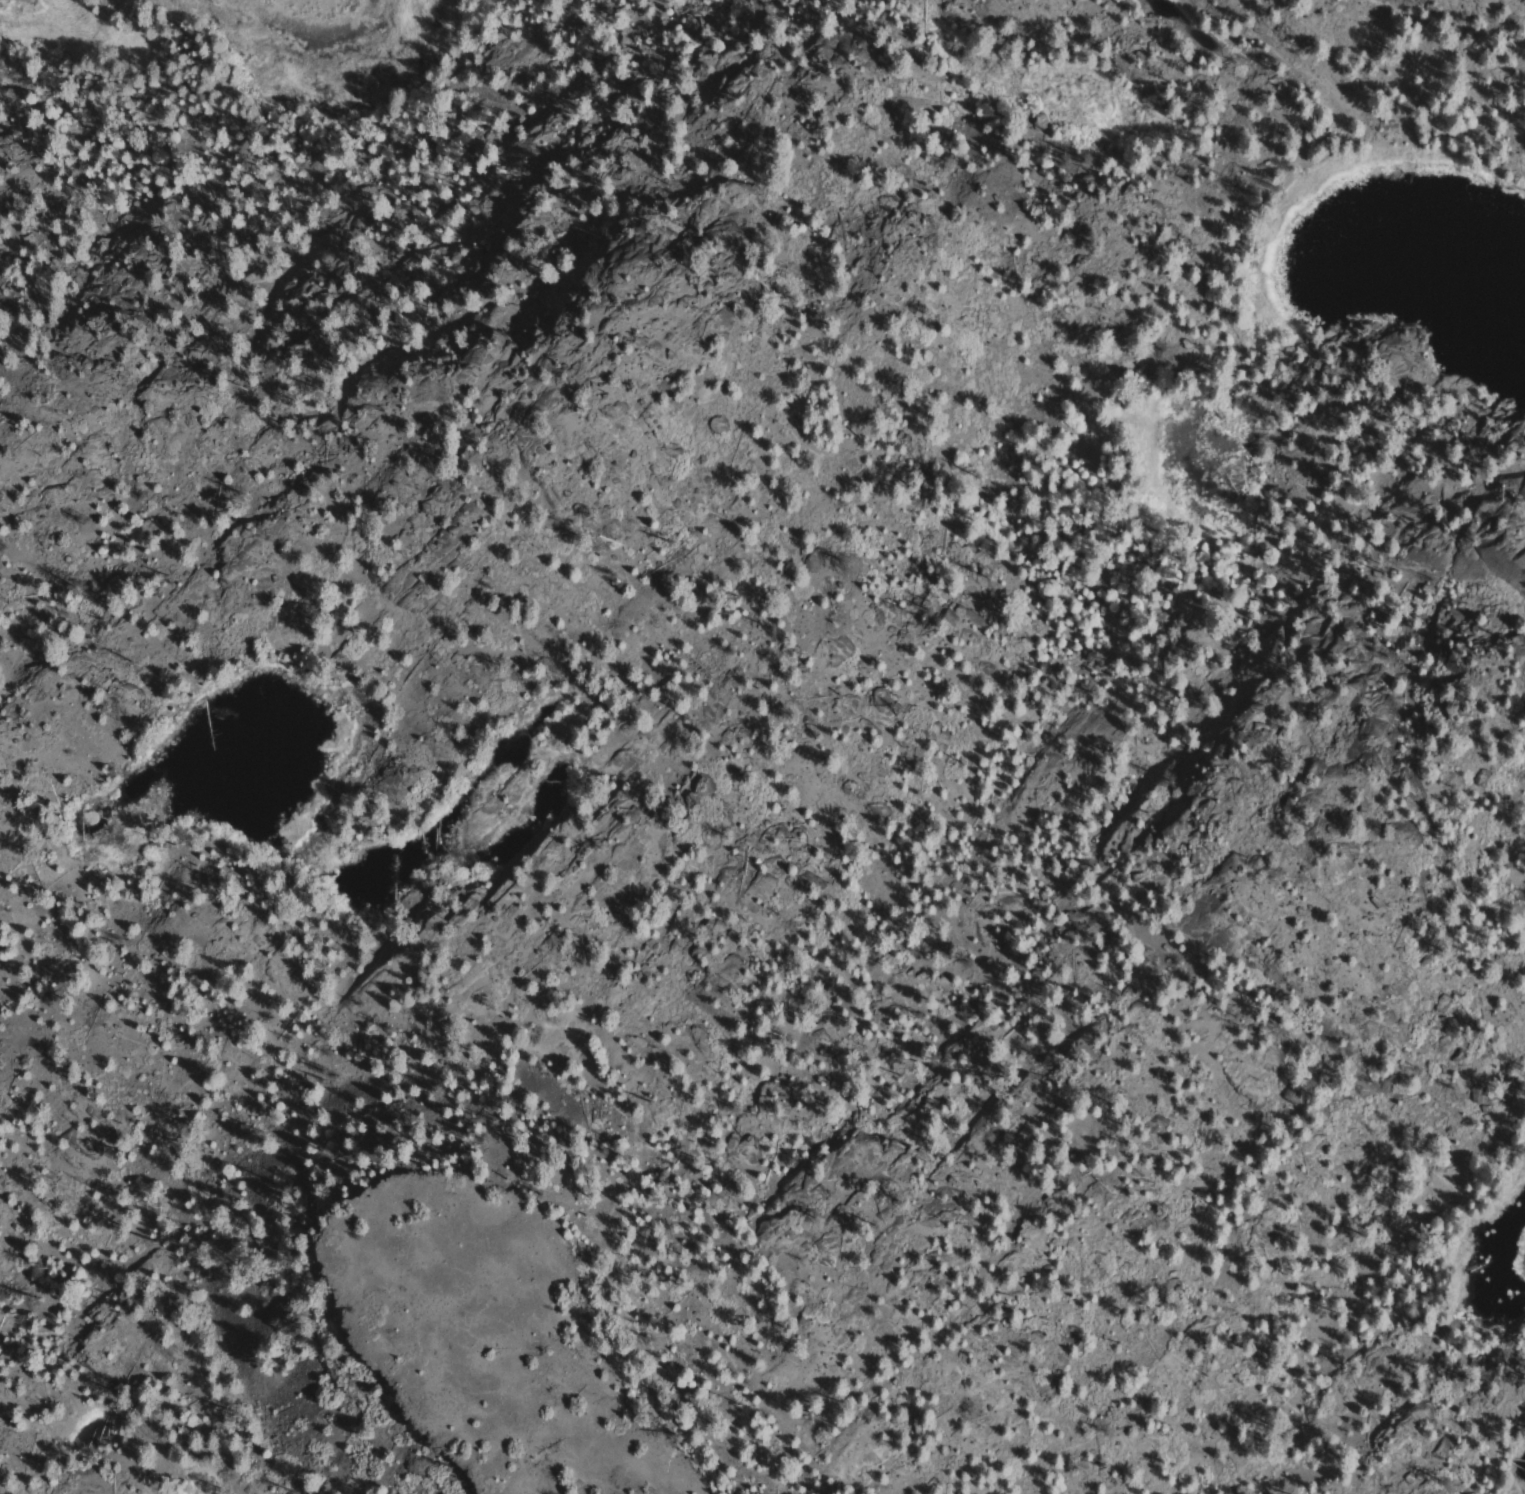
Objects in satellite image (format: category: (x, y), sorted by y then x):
road: (1345, 94)

